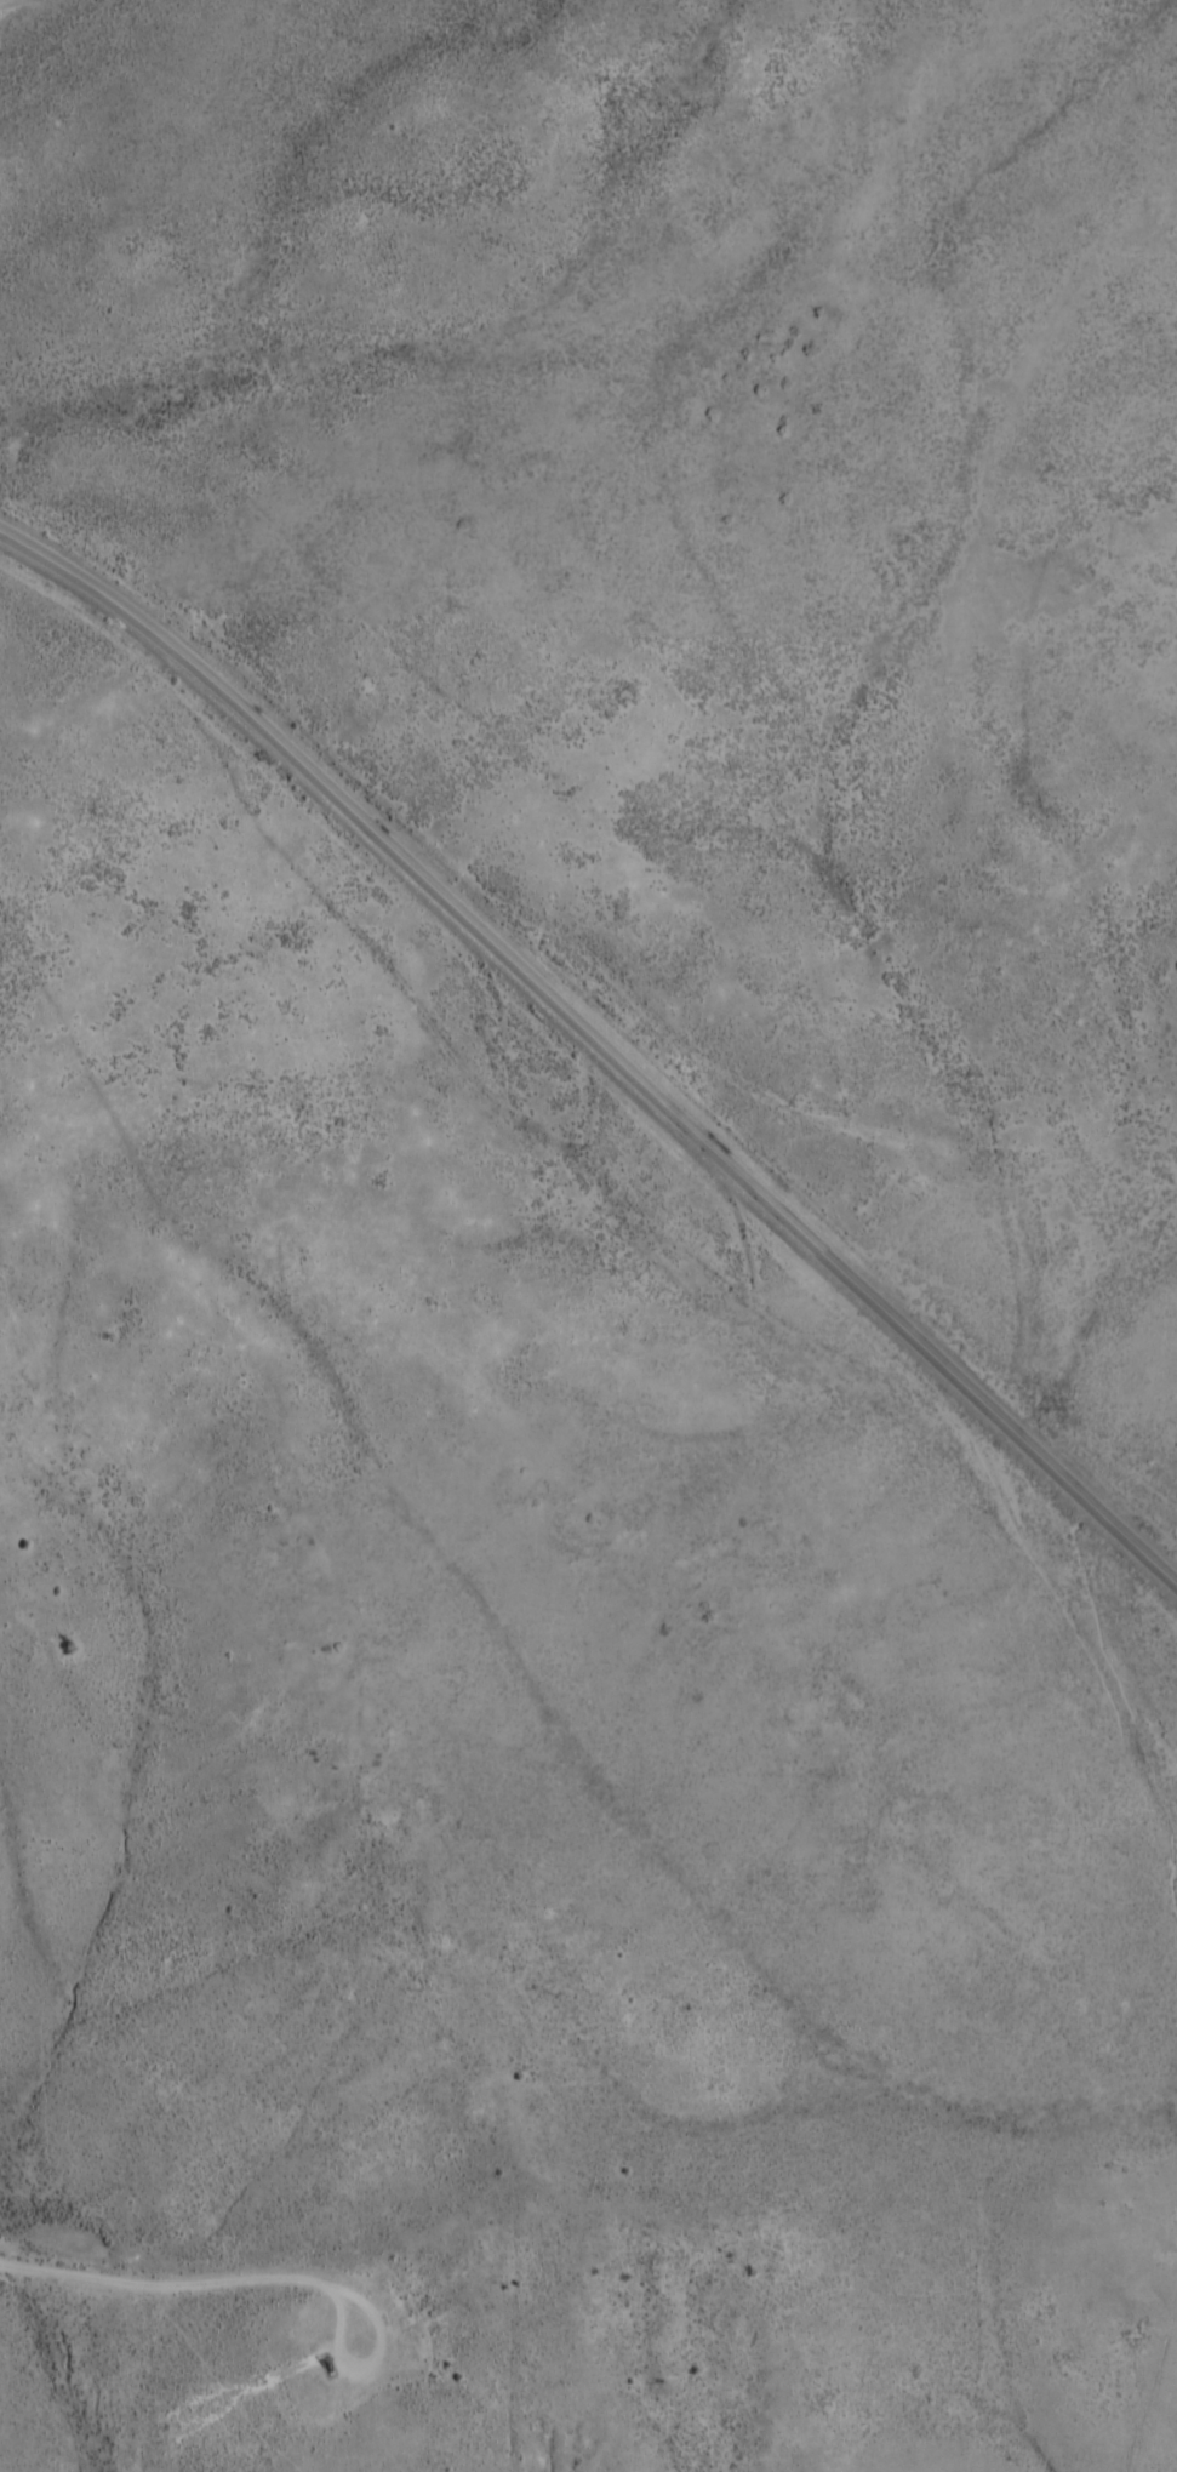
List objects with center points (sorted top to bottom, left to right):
road: (599, 1040)

